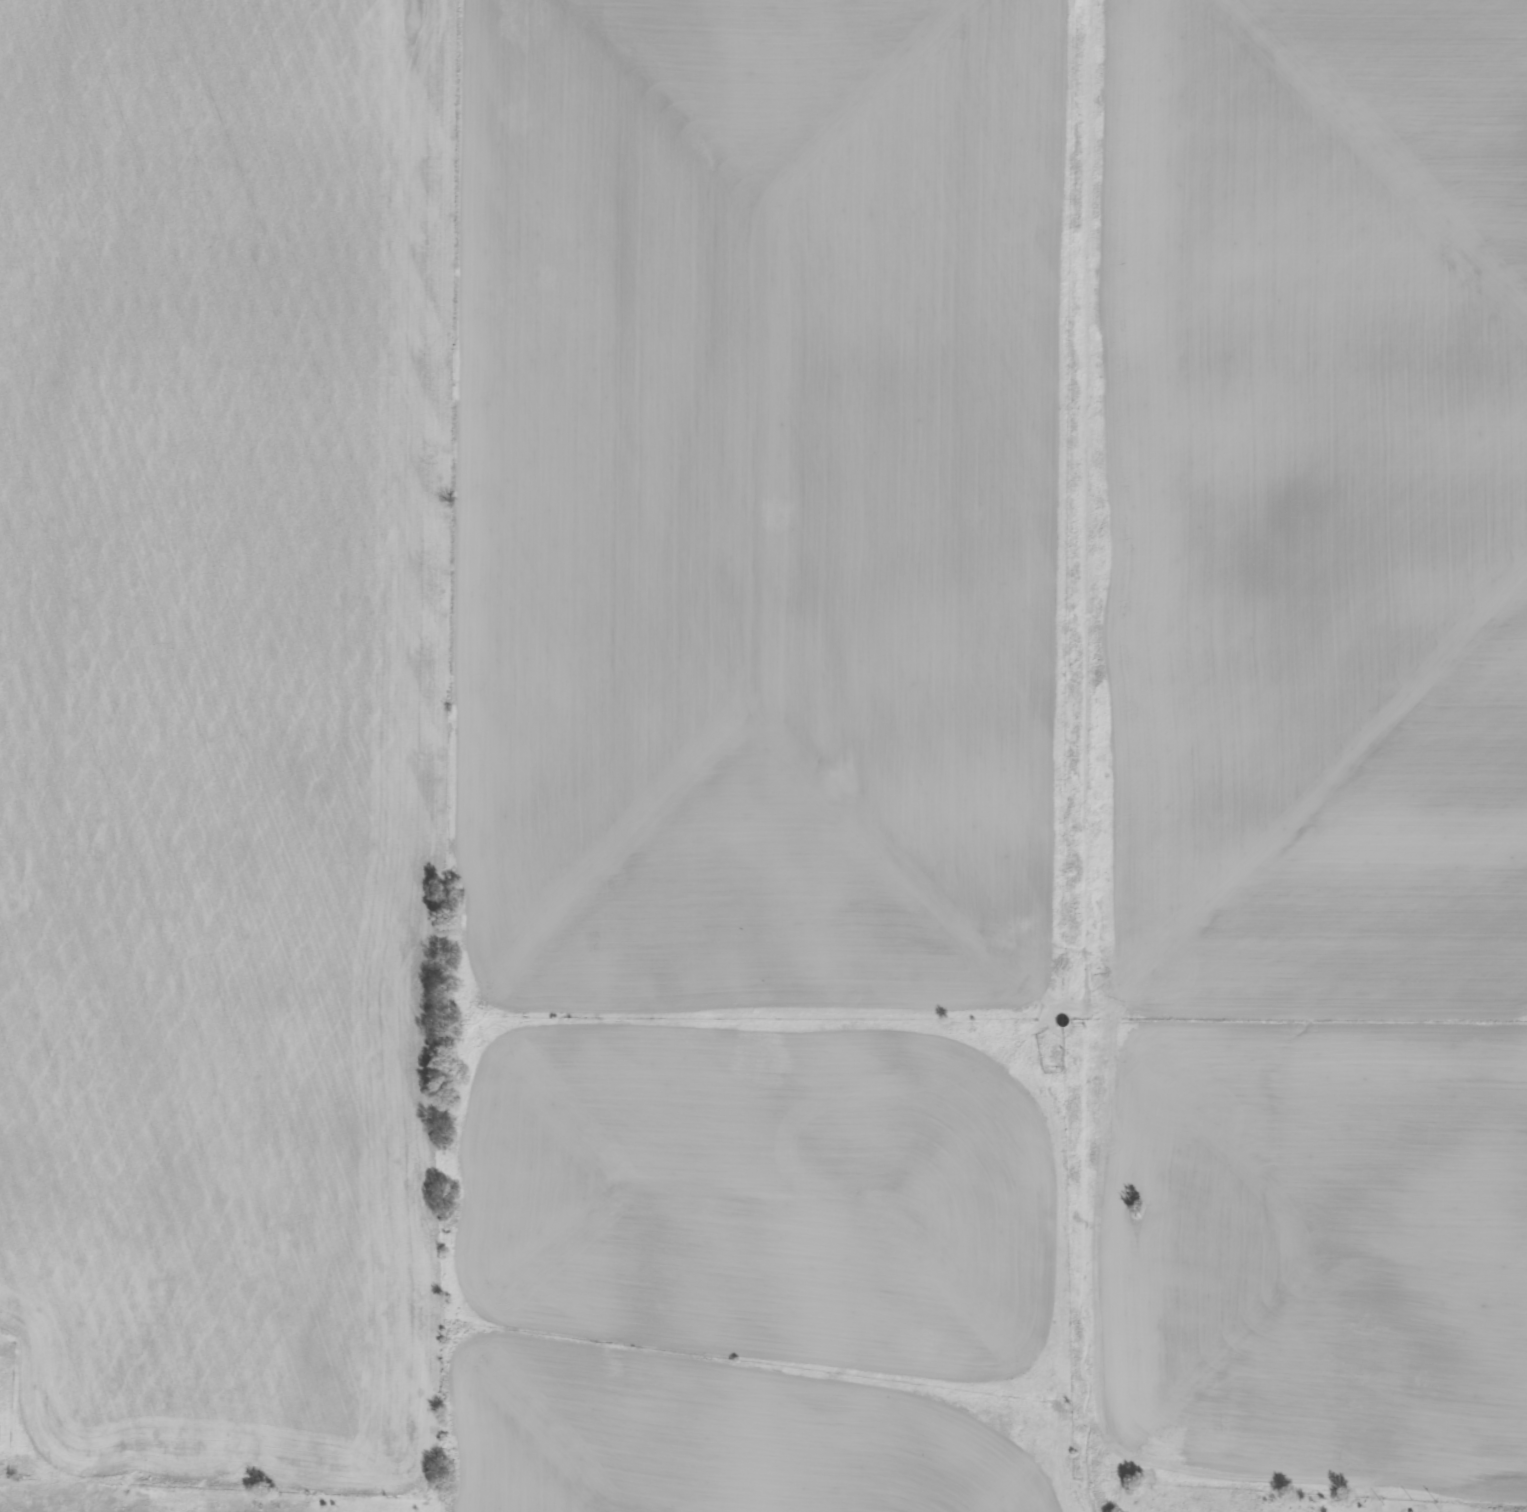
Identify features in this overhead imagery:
building: (0, 1432)

